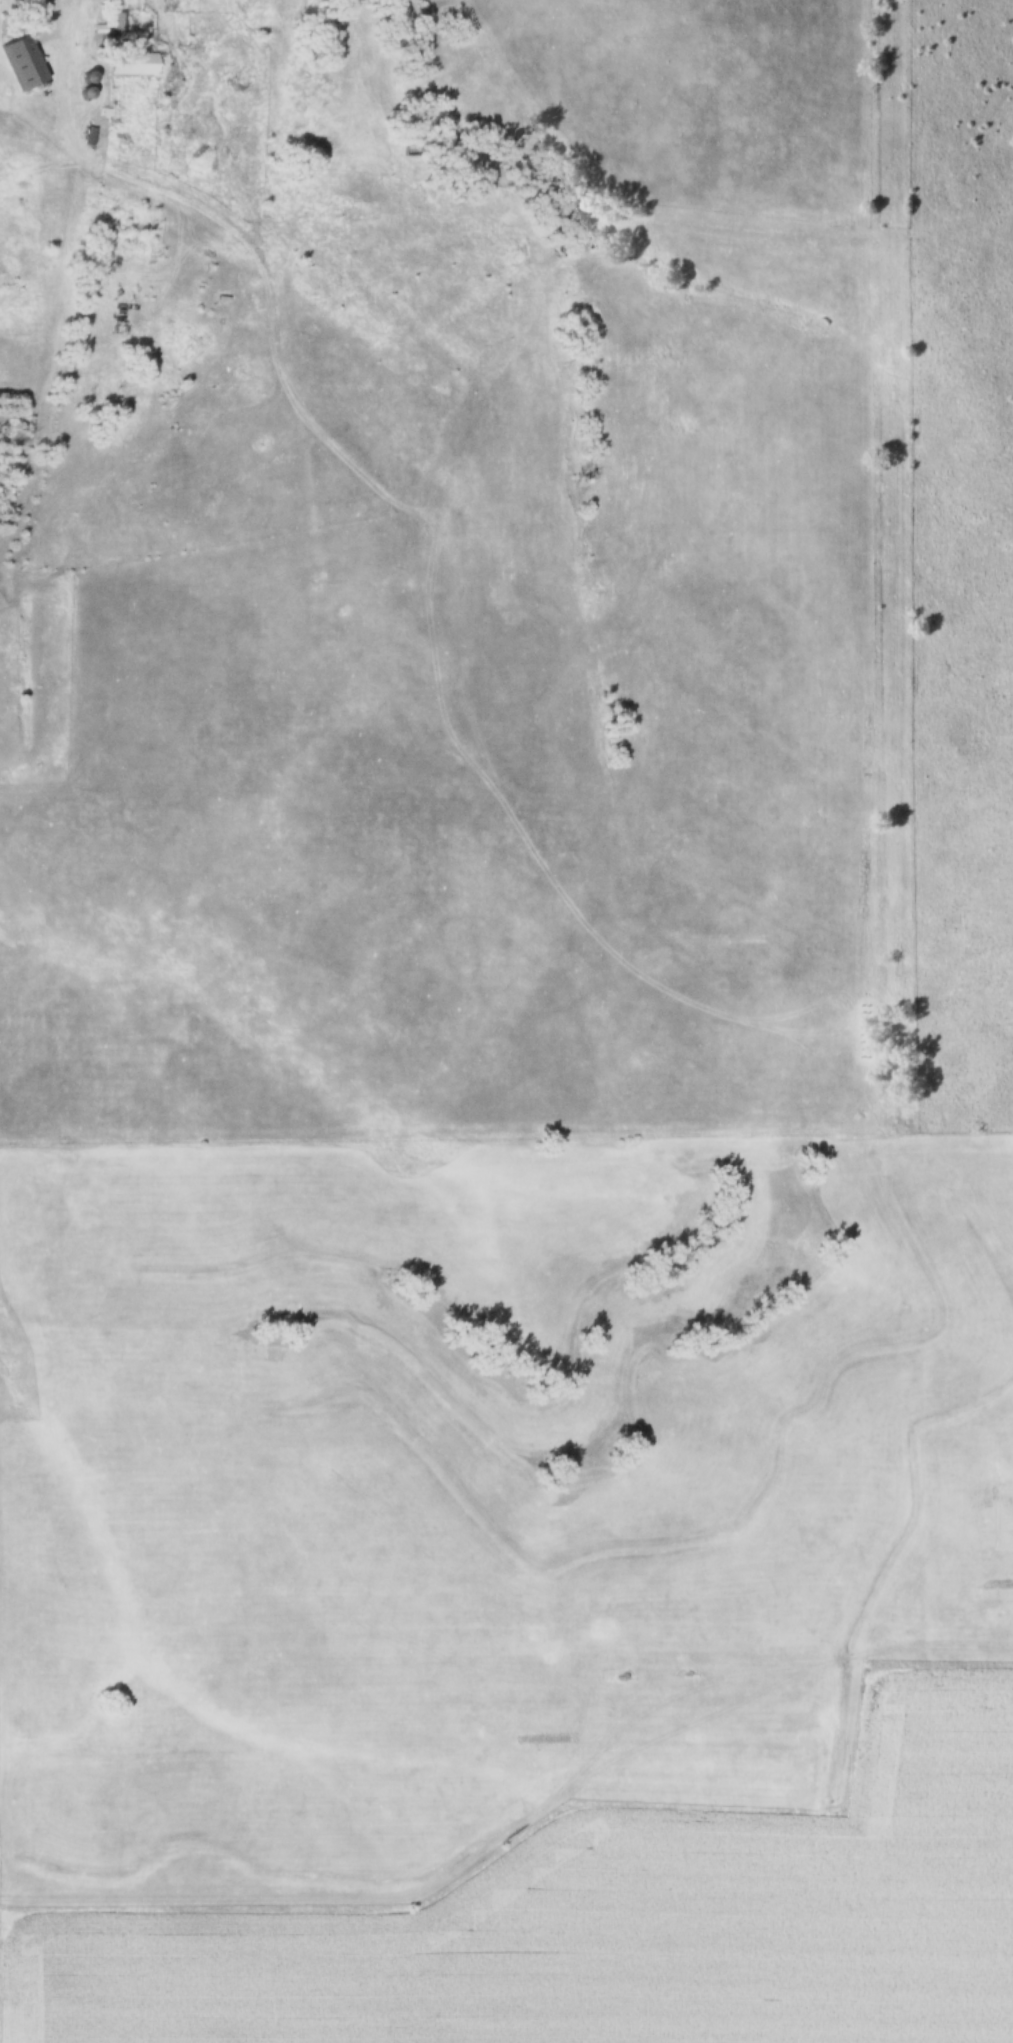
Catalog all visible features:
building: (117, 24)
building: (22, 61)
building: (133, 62)

